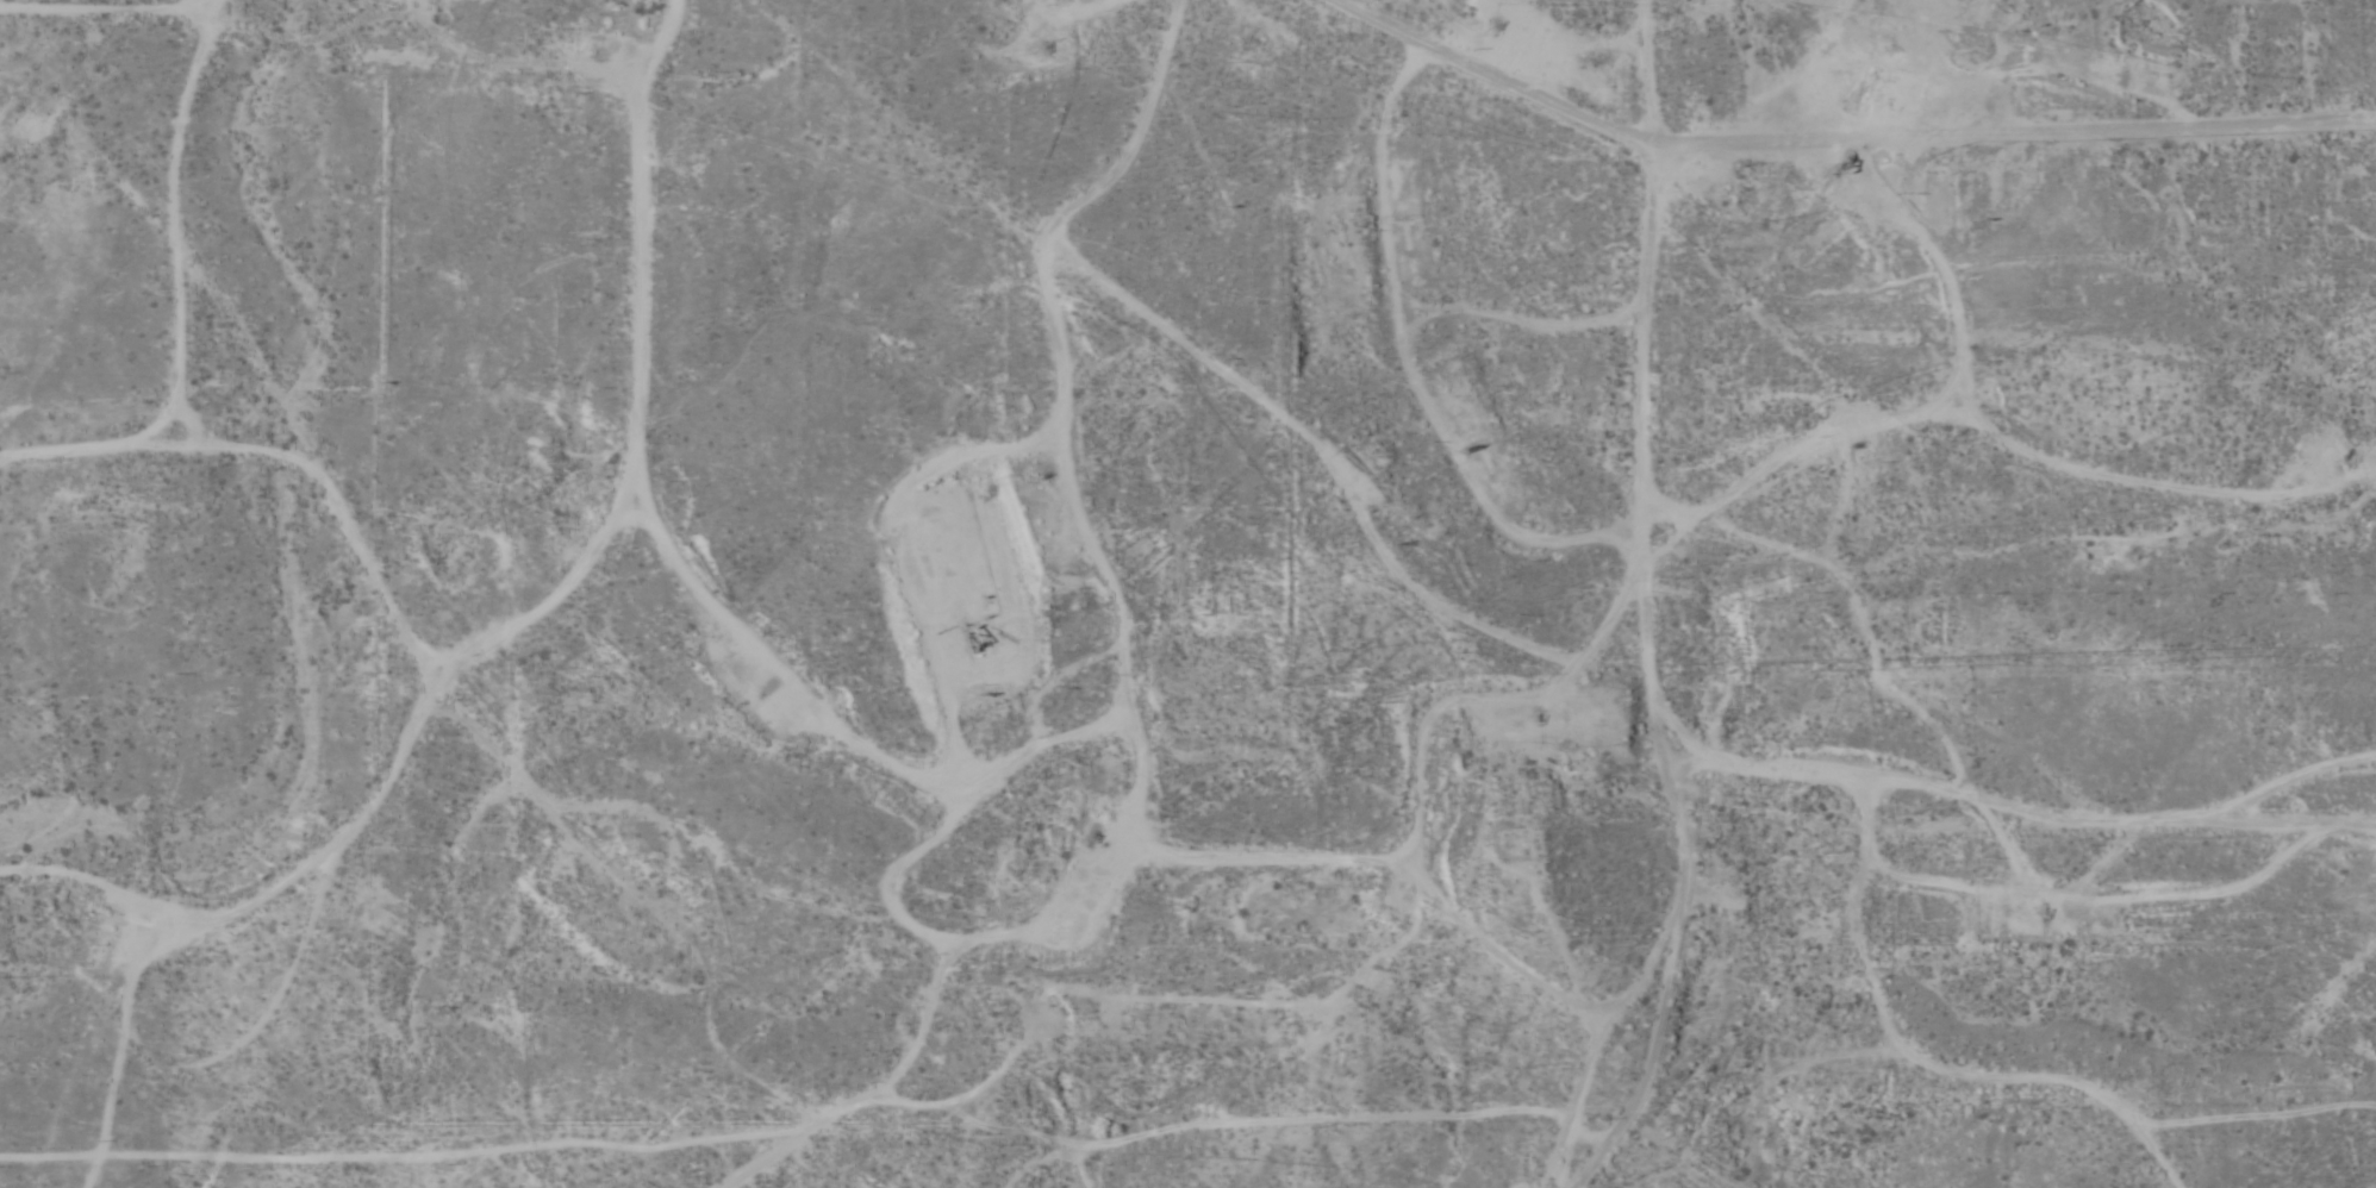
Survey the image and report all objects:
road: (1815, 144)
road: (1638, 468)
road: (640, 470)

